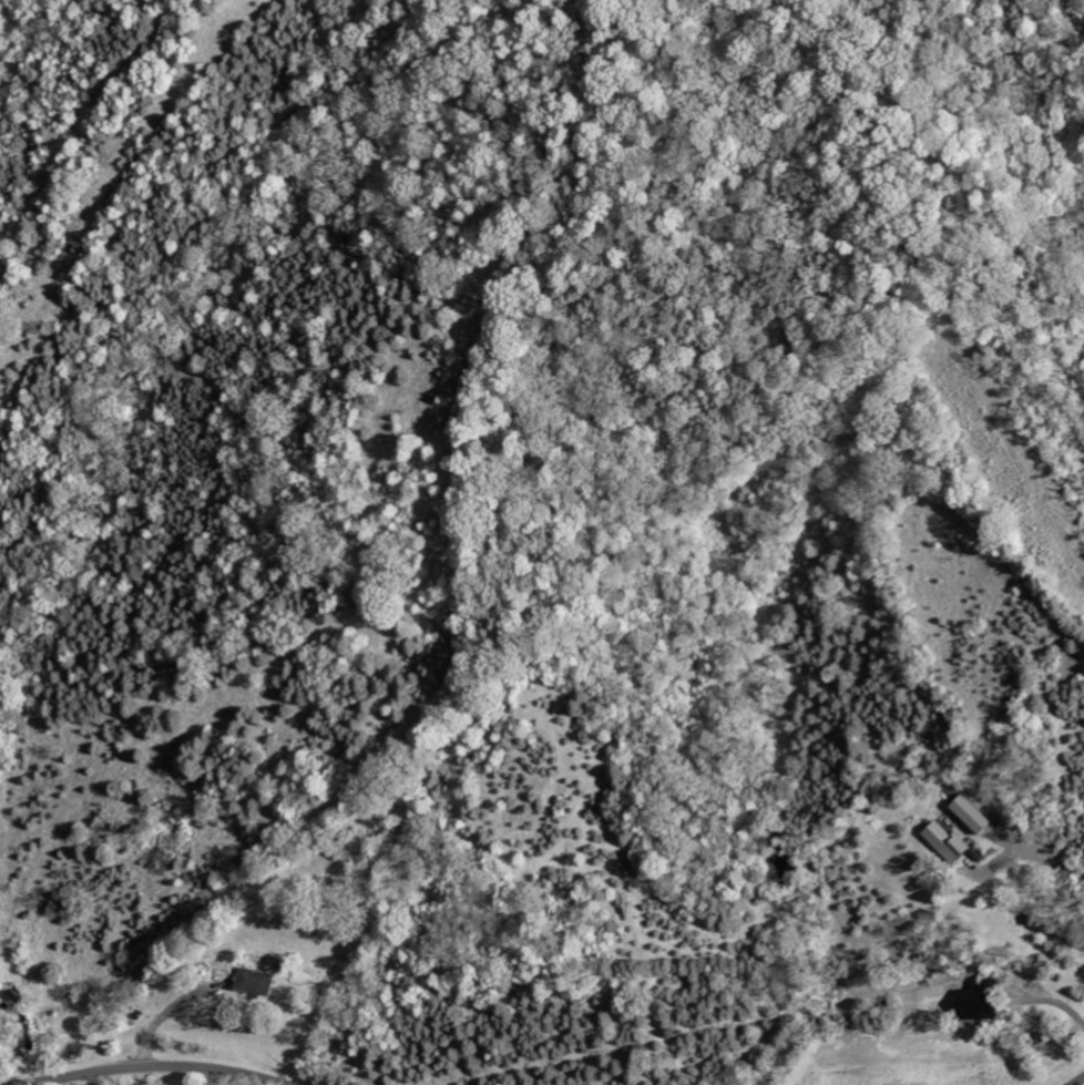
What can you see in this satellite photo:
road: (96, 180)
building: (972, 813)
building: (948, 841)
building: (256, 981)
road: (63, 997)
building: (983, 1003)
road: (140, 1067)
road: (1076, 1079)

